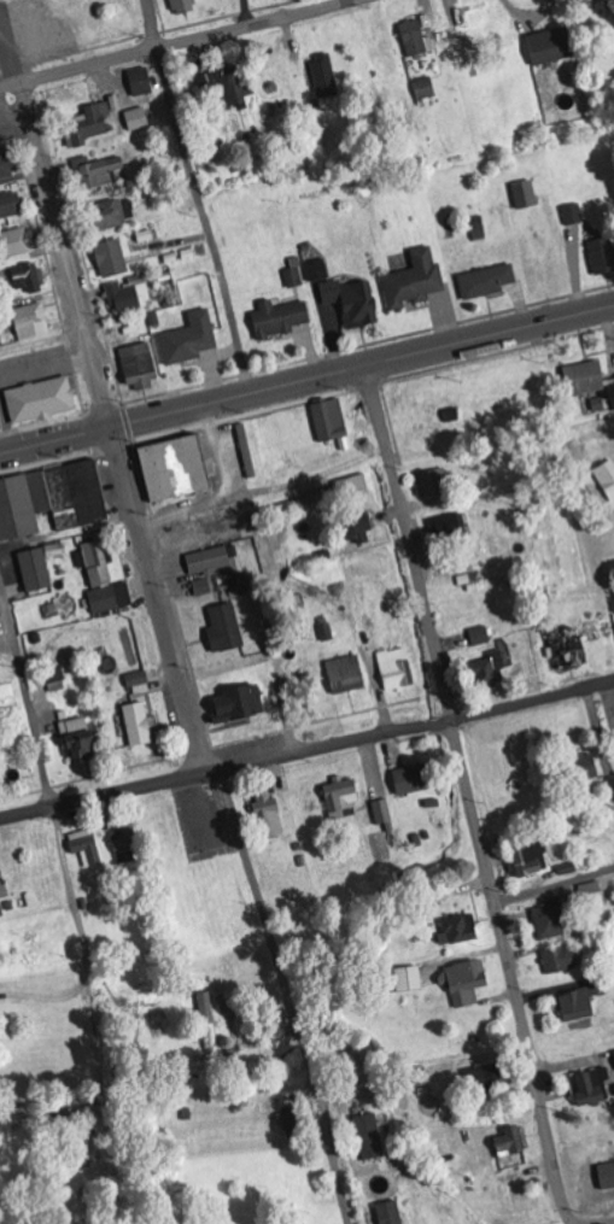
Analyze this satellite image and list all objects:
building: (183, 7)
building: (416, 40)
road: (13, 42)
road: (185, 45)
building: (551, 47)
building: (326, 78)
building: (141, 83)
building: (229, 86)
building: (426, 89)
building: (138, 119)
building: (93, 123)
building: (7, 164)
building: (105, 174)
road: (198, 197)
building: (526, 197)
building: (11, 206)
building: (112, 216)
building: (573, 216)
building: (18, 244)
road: (66, 257)
building: (603, 257)
building: (112, 259)
building: (317, 270)
building: (30, 279)
building: (296, 279)
building: (416, 282)
building: (487, 283)
building: (129, 298)
building: (353, 303)
building: (281, 320)
building: (33, 322)
building: (191, 340)
building: (141, 367)
building: (586, 380)
road: (306, 382)
building: (612, 390)
building: (42, 402)
building: (332, 422)
building: (176, 468)
building: (607, 478)
building: (429, 485)
building: (51, 499)
building: (358, 527)
building: (212, 560)
building: (36, 569)
building: (103, 581)
building: (204, 587)
road: (158, 602)
building: (226, 628)
building: (480, 636)
building: (397, 669)
building: (490, 670)
building: (347, 674)
building: (52, 678)
building: (138, 679)
road: (25, 697)
building: (239, 704)
building: (139, 724)
building: (83, 749)
road: (306, 754)
building: (589, 766)
building: (413, 779)
building: (341, 796)
road: (467, 796)
building: (384, 810)
building: (269, 814)
building: (127, 839)
building: (87, 848)
building: (426, 854)
building: (531, 861)
road: (554, 888)
building: (592, 894)
building: (1, 910)
building: (551, 920)
building: (460, 930)
building: (561, 960)
building: (409, 979)
building: (466, 982)
road: (288, 997)
road: (94, 1001)
building: (580, 1005)
building: (490, 1077)
building: (591, 1087)
building: (372, 1137)
building: (514, 1142)
building: (391, 1213)

